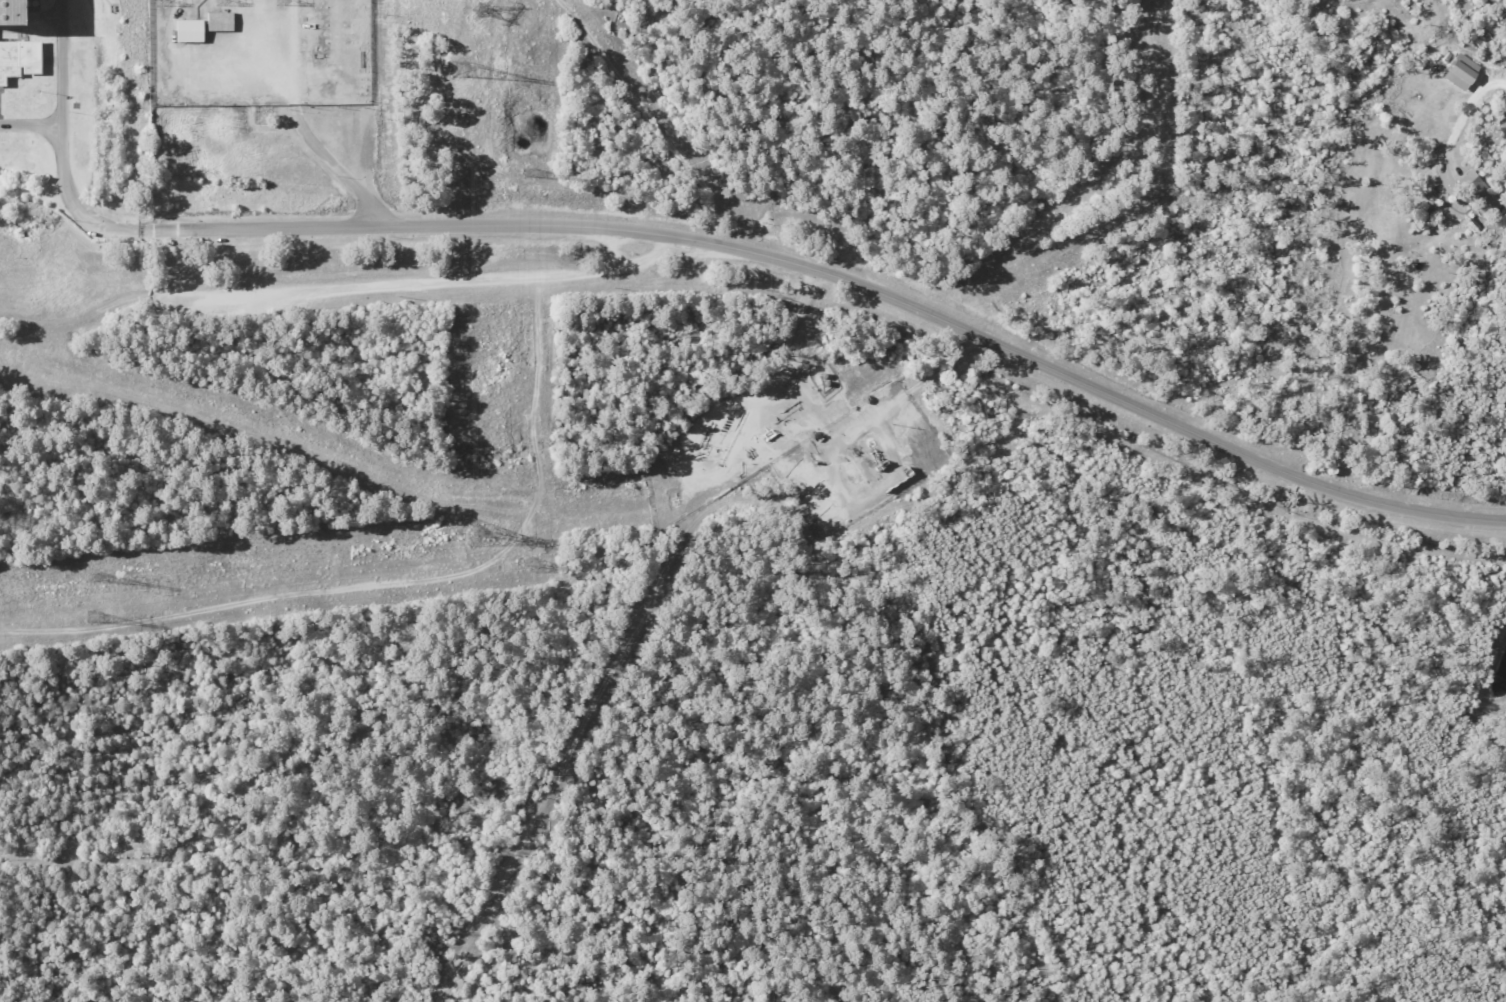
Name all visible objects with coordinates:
power tower: (159, 2)
power tower: (220, 3)
power tower: (480, 10)
building: (190, 30)
power substation: (259, 53)
building: (19, 59)
power tower: (458, 69)
power plant: (22, 94)
road: (29, 129)
road: (59, 144)
road: (339, 170)
power tower: (530, 173)
road: (847, 282)
road: (350, 288)
road: (824, 420)
power tower: (473, 532)
power tower: (531, 565)
power tower: (95, 580)
power tower: (90, 618)

